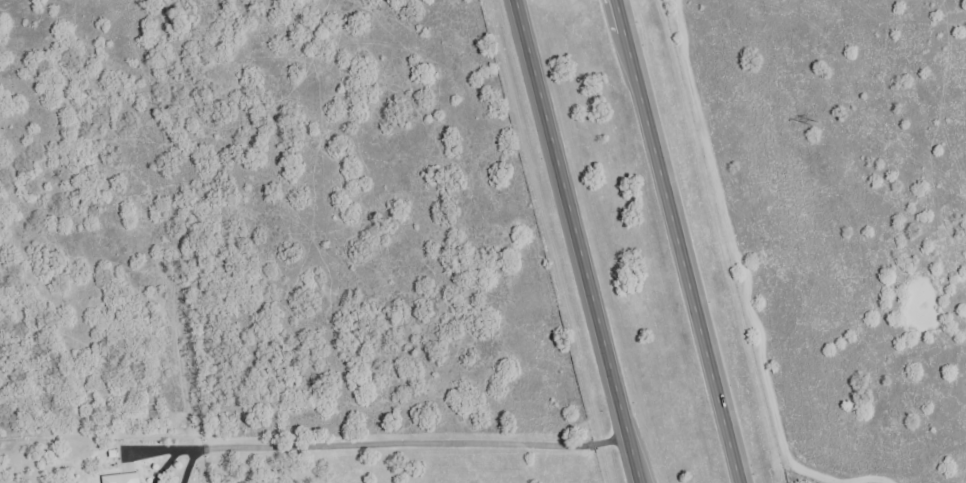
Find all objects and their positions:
power tower: (813, 122)
road: (582, 241)
road: (681, 241)
building: (125, 476)
building: (147, 482)

